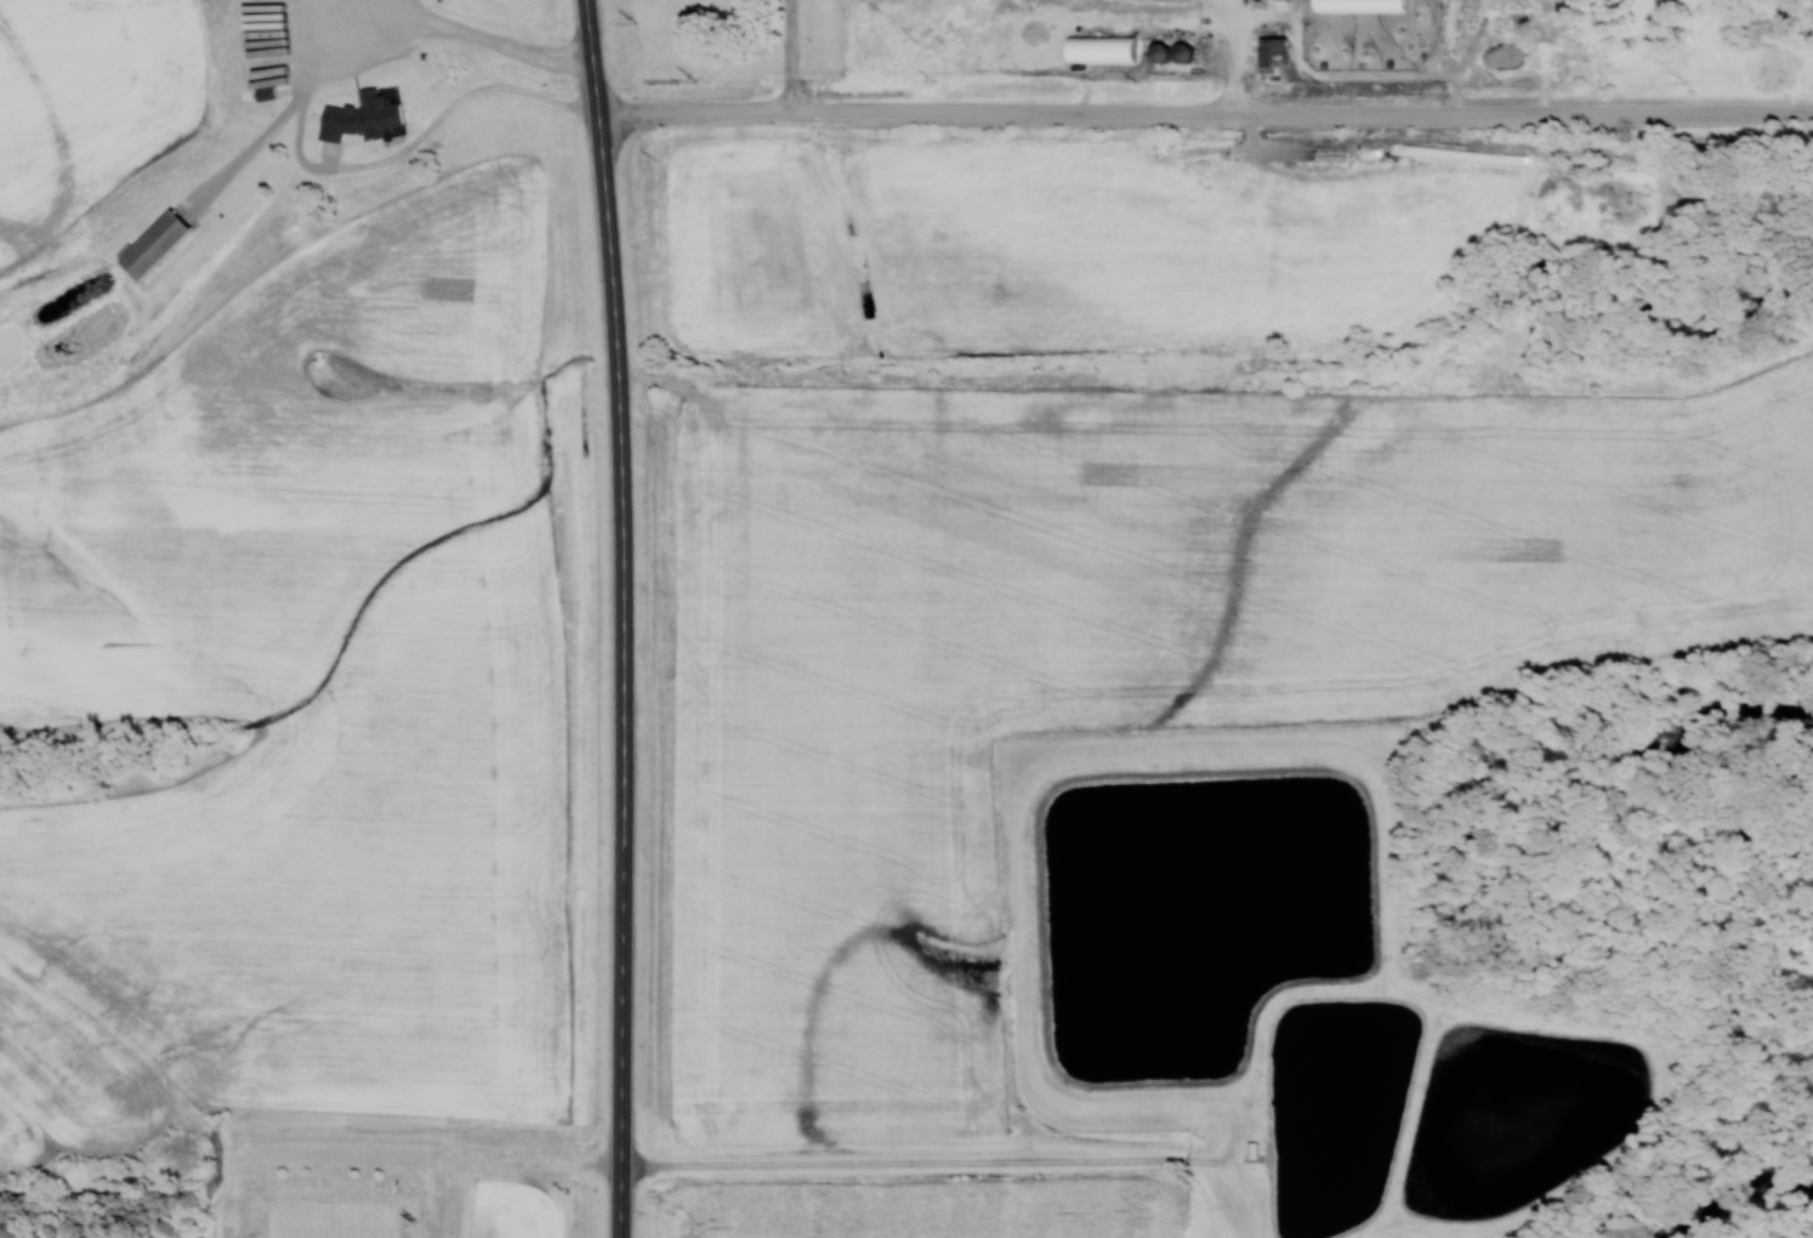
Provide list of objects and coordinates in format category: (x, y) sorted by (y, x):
road: (456, 34)
building: (1272, 49)
building: (1170, 51)
road: (791, 57)
road: (1207, 114)
building: (362, 115)
building: (154, 243)
road: (626, 575)
road: (624, 1196)

